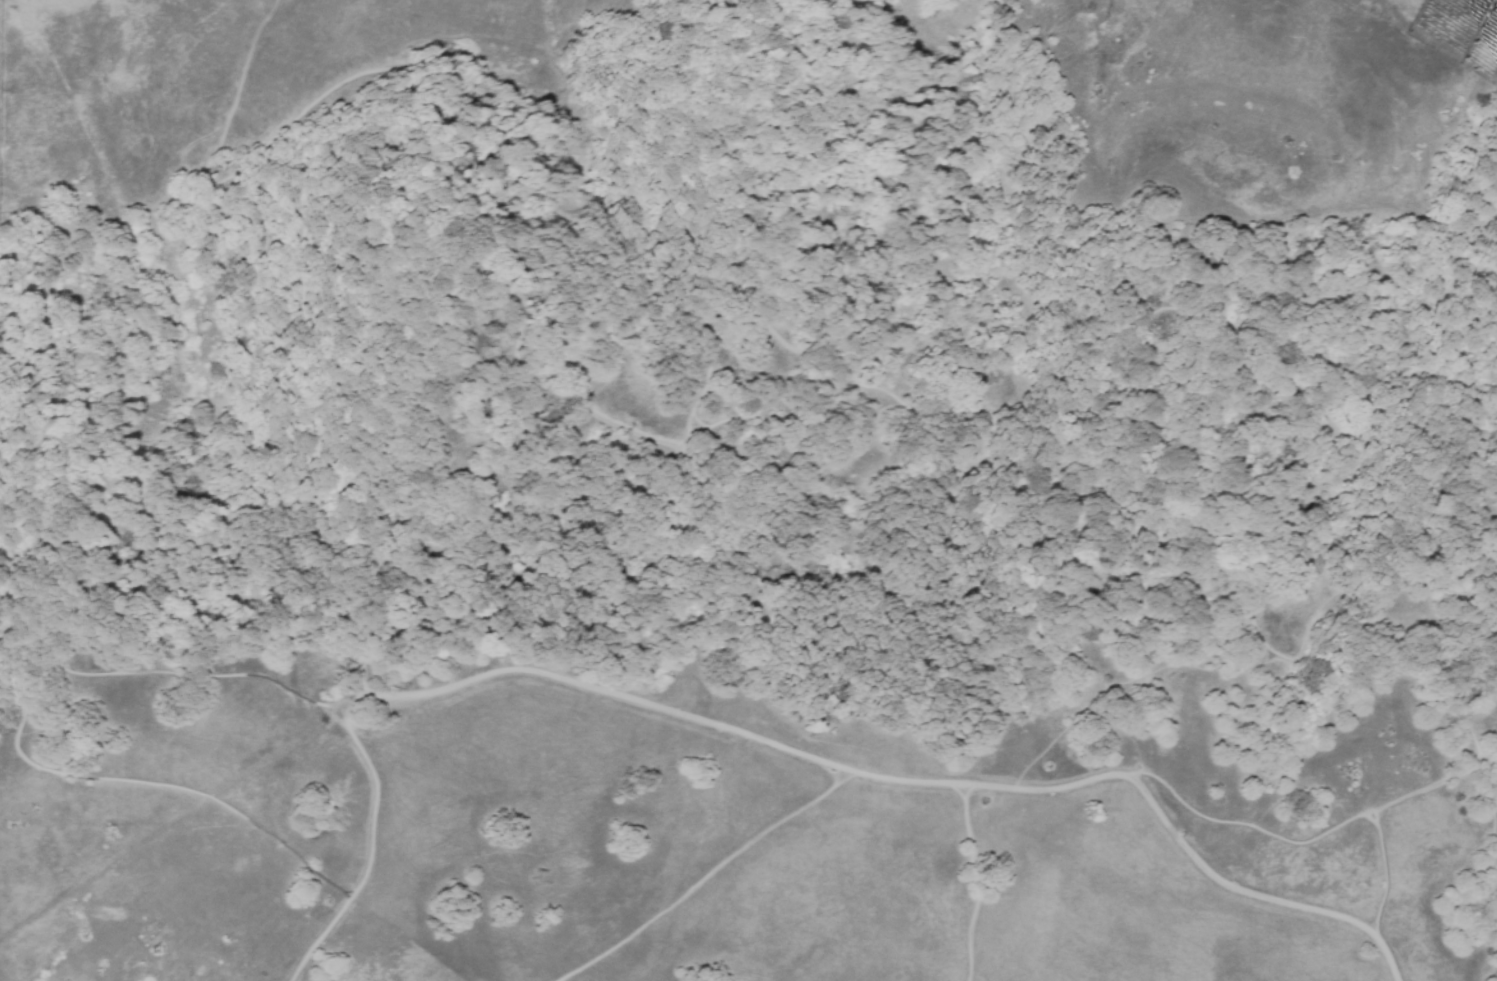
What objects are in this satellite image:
road: (338, 211)
road: (718, 344)
road: (1104, 538)
park: (791, 549)
road: (17, 732)
road: (915, 778)
road: (376, 797)
road: (1282, 839)
road: (1489, 848)
road: (703, 854)
road: (977, 883)
road: (319, 939)
road: (557, 972)

